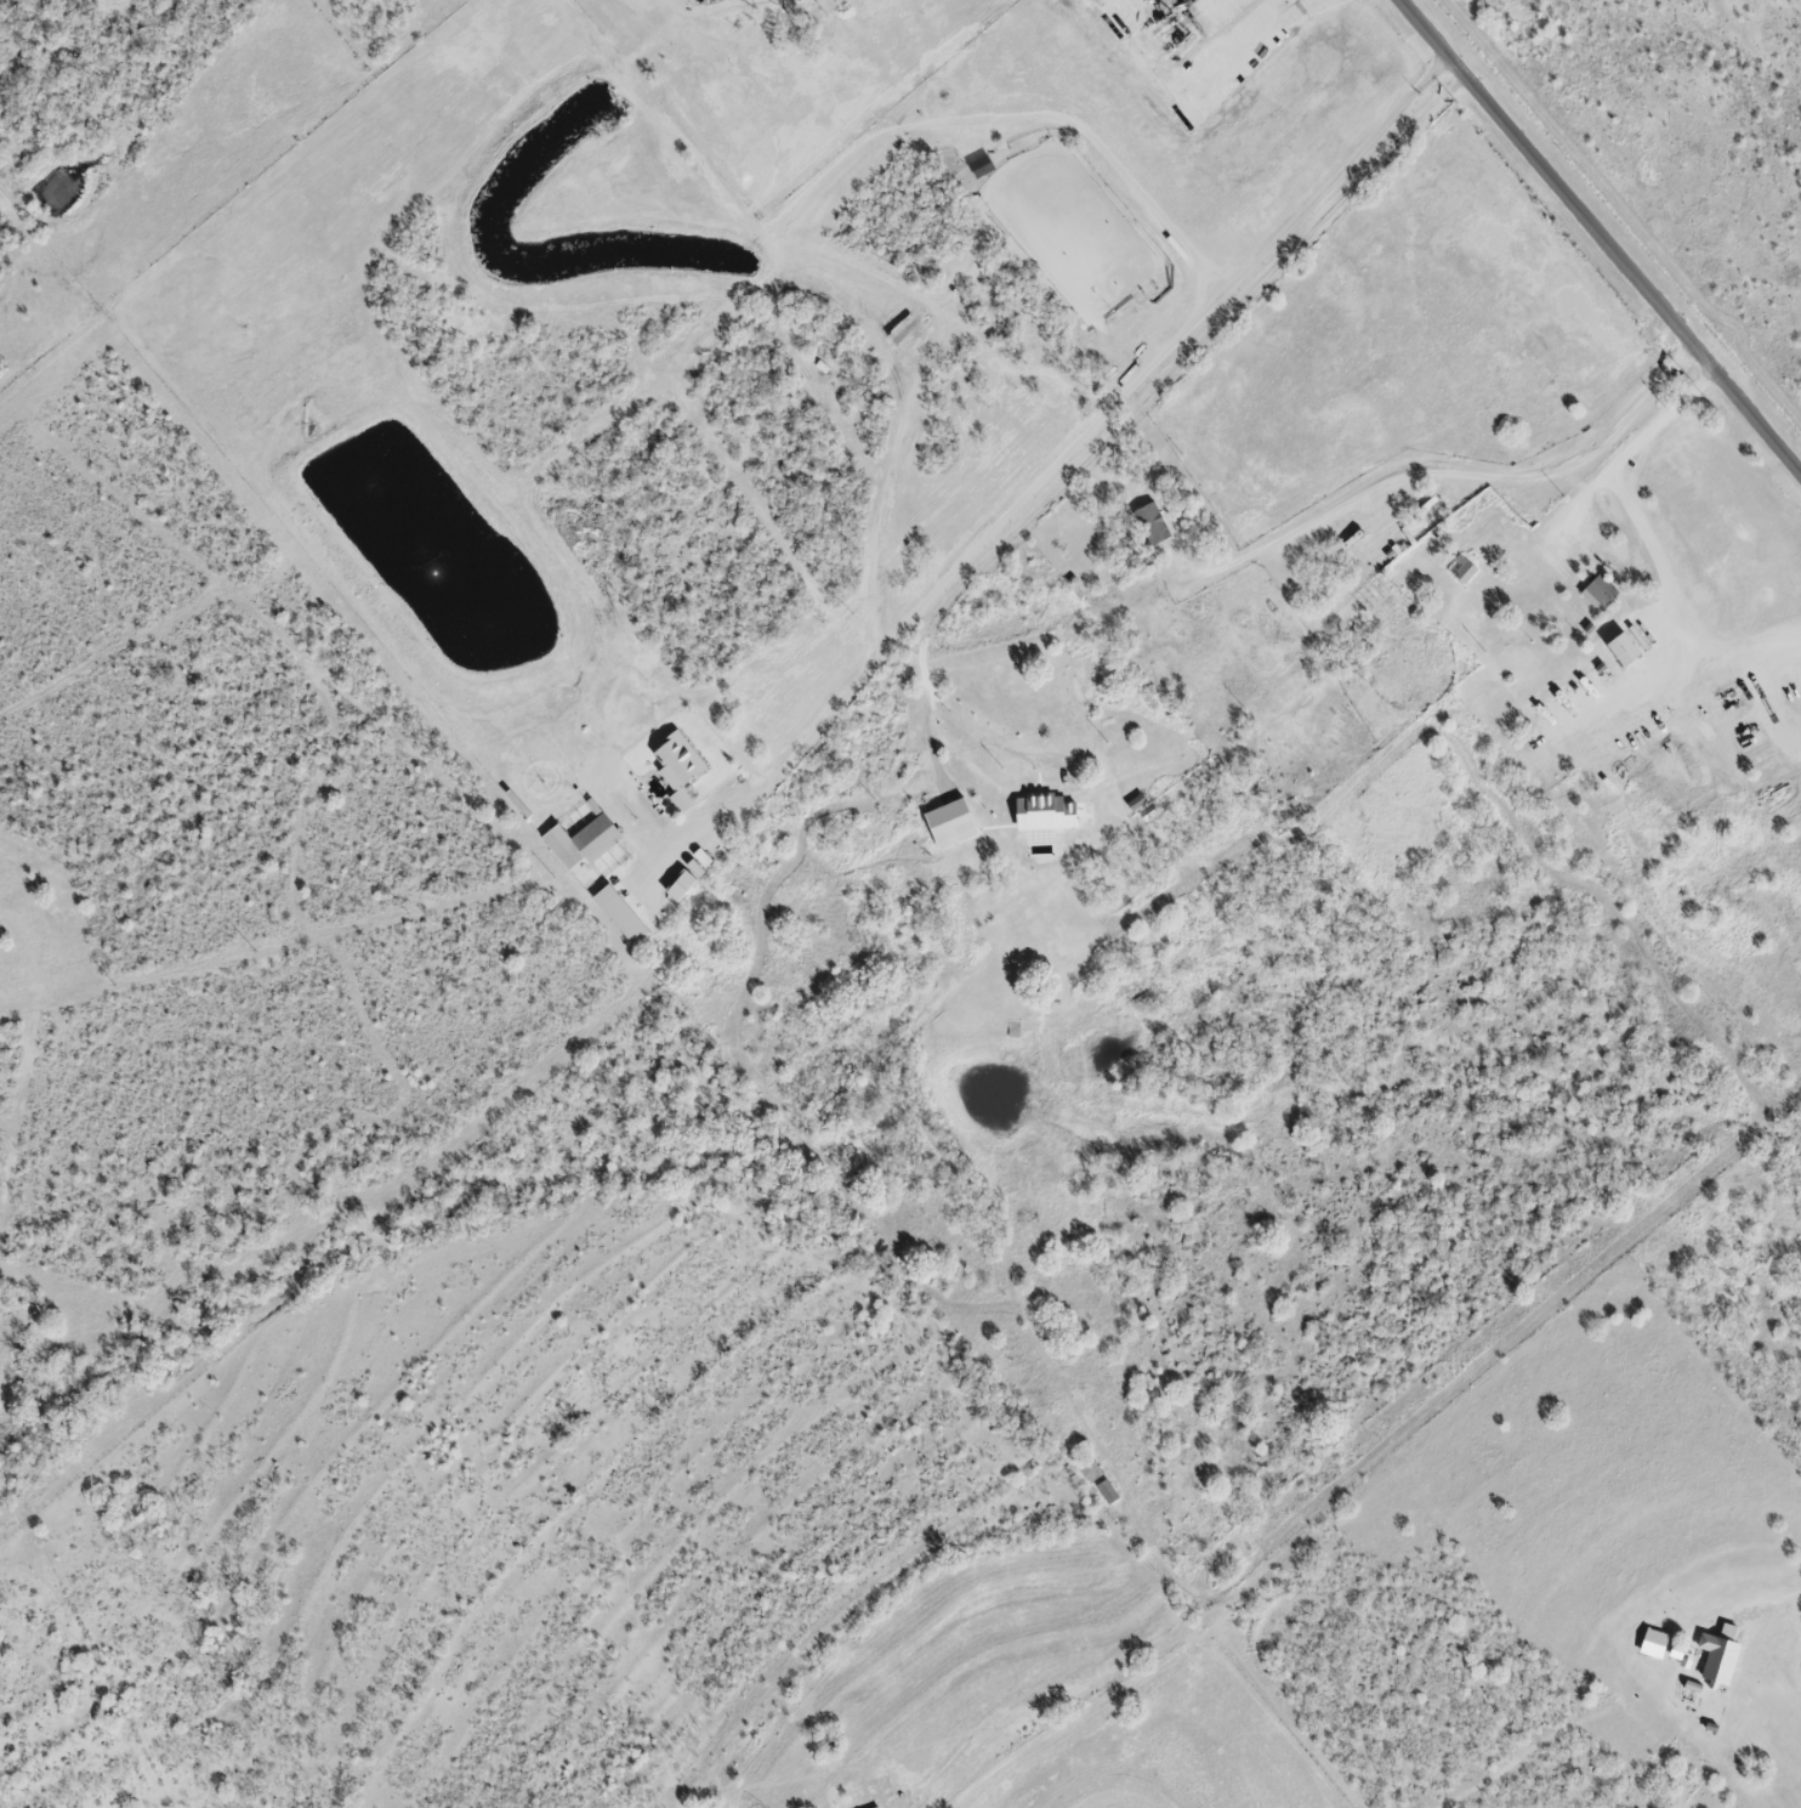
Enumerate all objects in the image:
road: (1274, 28)
road: (1601, 231)
road: (1127, 421)
road: (1089, 440)
building: (1152, 526)
road: (1648, 540)
building: (1462, 573)
building: (1602, 594)
building: (677, 764)
building: (1045, 816)
building: (596, 840)
building: (621, 918)
building: (1089, 1472)
building: (1107, 1495)
road: (1776, 1605)
building: (1718, 1662)

